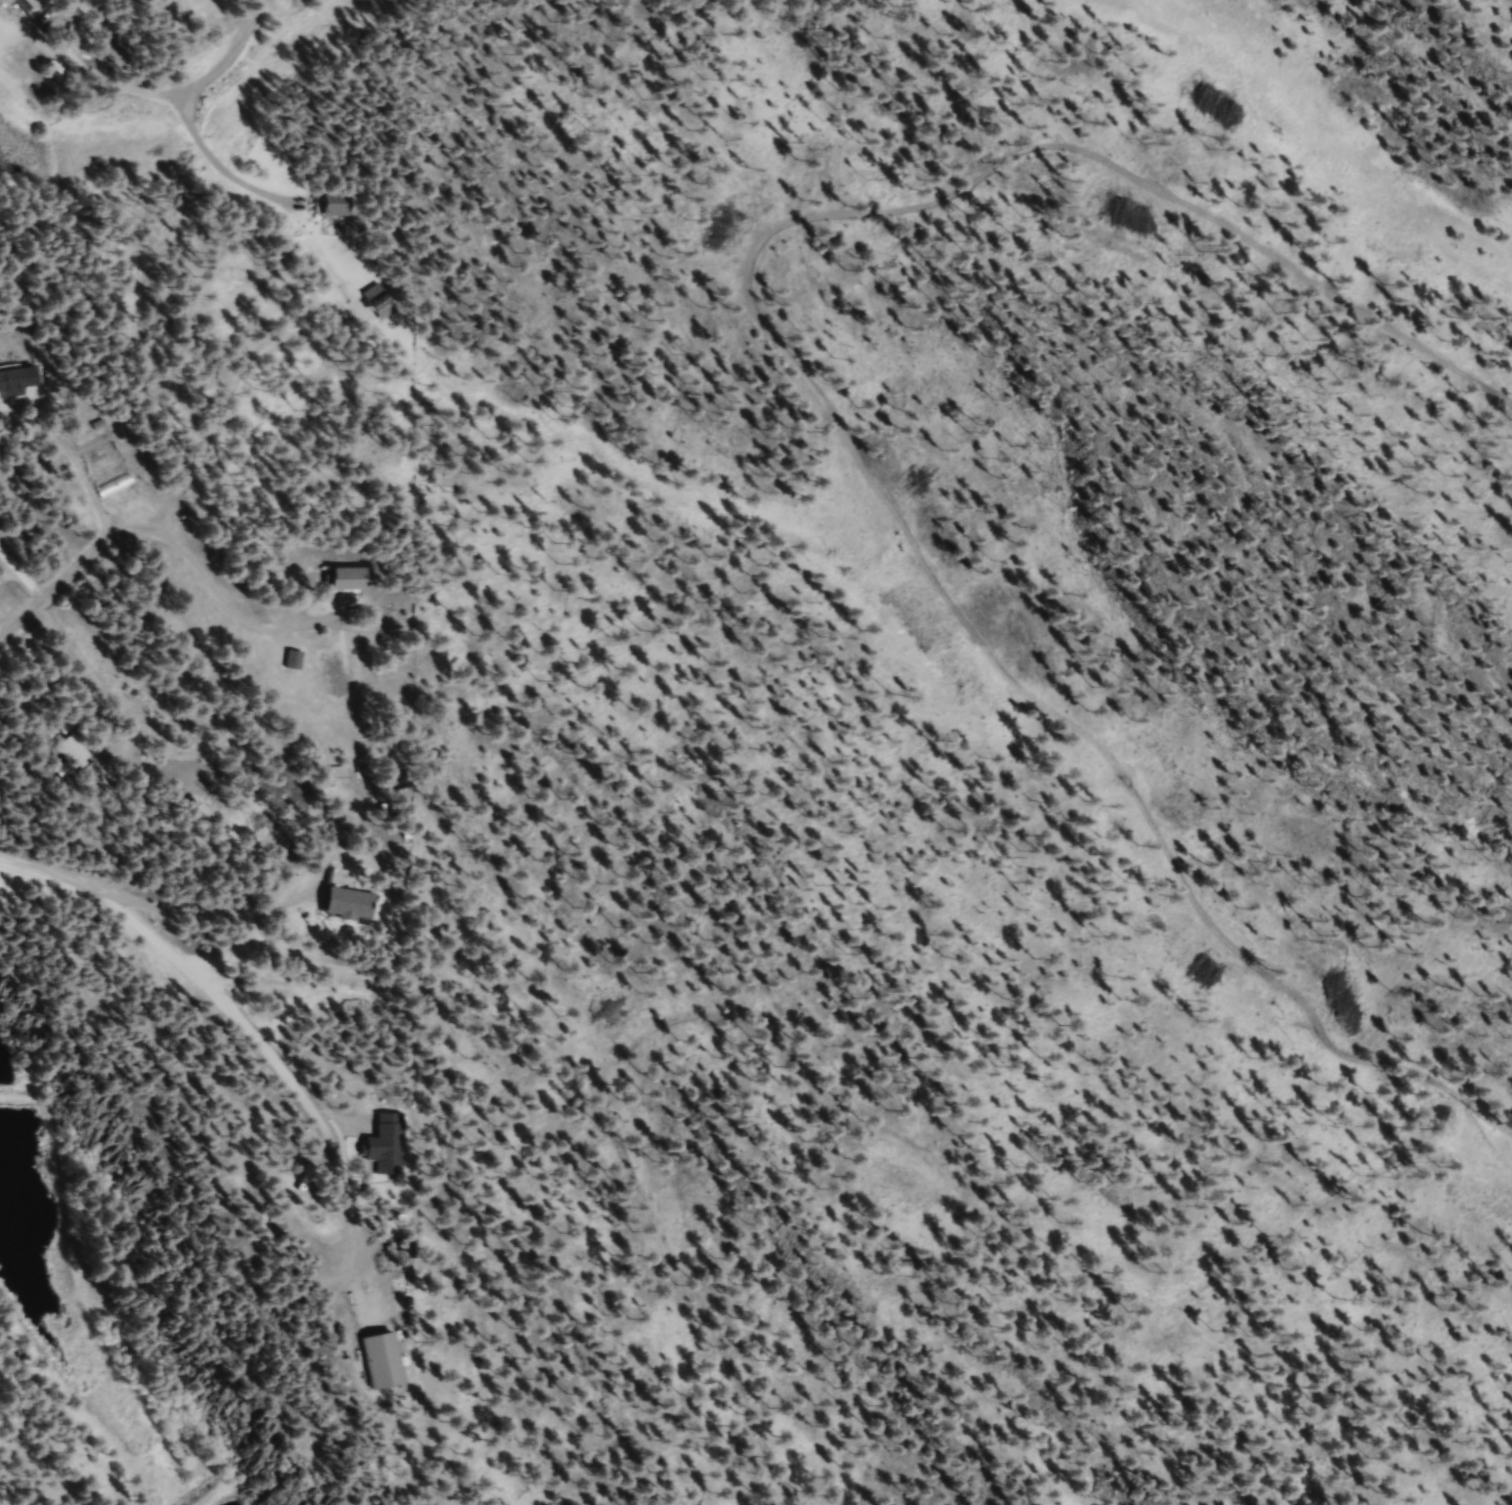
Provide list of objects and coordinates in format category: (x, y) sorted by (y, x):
building: (40, 4)
road: (193, 87)
building: (343, 210)
building: (20, 384)
building: (103, 457)
building: (120, 489)
road: (136, 533)
building: (359, 583)
building: (294, 662)
building: (72, 758)
building: (344, 905)
road: (610, 1139)
building: (390, 1145)
road: (349, 1240)
road: (236, 1324)
building: (380, 1363)

